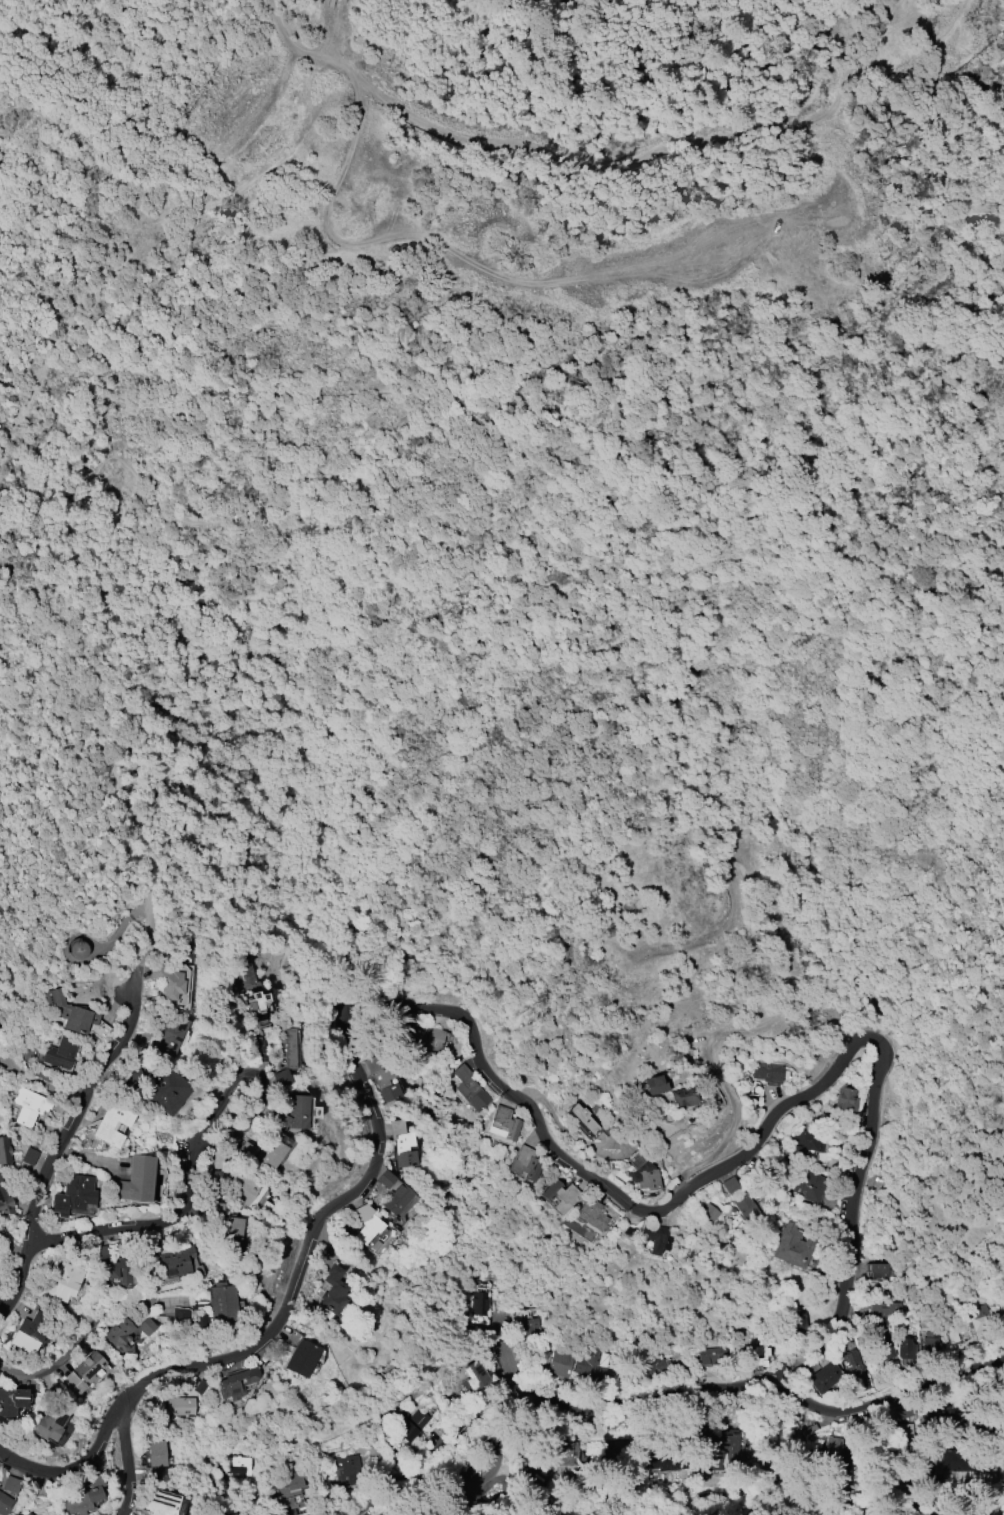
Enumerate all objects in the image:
road: (148, 4)
road: (134, 16)
road: (51, 89)
road: (434, 129)
road: (446, 249)
road: (76, 520)
road: (672, 594)
road: (134, 826)
road: (118, 928)
road: (75, 936)
road: (146, 939)
building: (78, 949)
storage tank: (78, 949)
building: (167, 981)
building: (260, 999)
building: (69, 1012)
building: (170, 1032)
building: (420, 1034)
building: (285, 1048)
building: (59, 1052)
building: (767, 1073)
building: (282, 1078)
building: (383, 1080)
building: (654, 1085)
building: (470, 1088)
building: (168, 1090)
building: (683, 1096)
road: (874, 1096)
building: (845, 1097)
building: (28, 1105)
road: (734, 1110)
building: (293, 1113)
building: (583, 1118)
building: (113, 1124)
building: (503, 1125)
road: (63, 1134)
road: (376, 1136)
building: (806, 1142)
building: (402, 1144)
building: (5, 1149)
building: (248, 1150)
building: (271, 1154)
building: (29, 1156)
building: (525, 1163)
building: (642, 1172)
building: (218, 1177)
building: (999, 1178)
building: (136, 1179)
building: (385, 1179)
building: (728, 1184)
building: (808, 1185)
building: (242, 1188)
building: (73, 1194)
building: (560, 1195)
building: (398, 1199)
building: (5, 1201)
building: (746, 1207)
building: (708, 1212)
building: (592, 1213)
building: (365, 1223)
building: (225, 1225)
road: (137, 1227)
building: (653, 1236)
building: (794, 1249)
building: (101, 1252)
building: (177, 1260)
building: (117, 1270)
building: (878, 1273)
building: (65, 1281)
building: (332, 1289)
building: (222, 1303)
building: (481, 1304)
building: (884, 1311)
building: (179, 1316)
building: (979, 1321)
building: (798, 1324)
building: (146, 1326)
building: (527, 1326)
building: (31, 1331)
building: (120, 1336)
building: (952, 1337)
building: (883, 1347)
building: (932, 1348)
road: (75, 1350)
building: (906, 1352)
road: (507, 1354)
building: (711, 1357)
building: (302, 1358)
building: (755, 1360)
building: (560, 1363)
building: (592, 1364)
building: (654, 1370)
building: (82, 1373)
building: (856, 1373)
building: (474, 1376)
building: (825, 1379)
road: (764, 1381)
building: (236, 1383)
building: (200, 1386)
building: (12, 1400)
building: (180, 1406)
building: (905, 1412)
building: (952, 1421)
building: (49, 1423)
building: (409, 1424)
building: (902, 1431)
building: (834, 1446)
road: (430, 1447)
building: (156, 1453)
building: (733, 1454)
road: (126, 1461)
building: (672, 1463)
building: (498, 1464)
building: (965, 1464)
building: (474, 1465)
building: (237, 1466)
building: (347, 1469)
building: (151, 1473)
building: (294, 1480)
building: (10, 1483)
building: (83, 1496)
building: (4, 1503)
building: (164, 1503)
building: (298, 1512)
building: (24, 1514)
building: (234, 1514)

